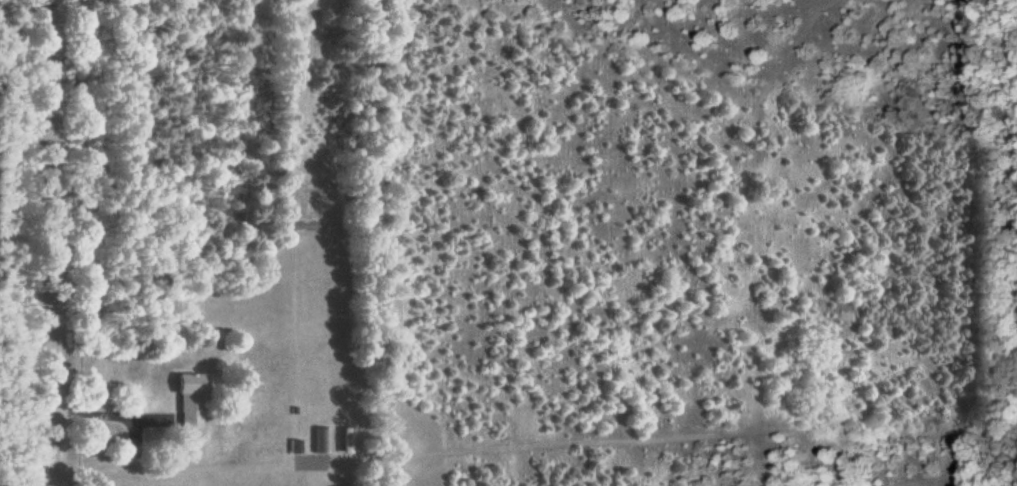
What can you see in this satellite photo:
road: (52, 242)
building: (186, 400)
road: (112, 416)
building: (322, 440)
building: (345, 441)
road: (121, 473)

